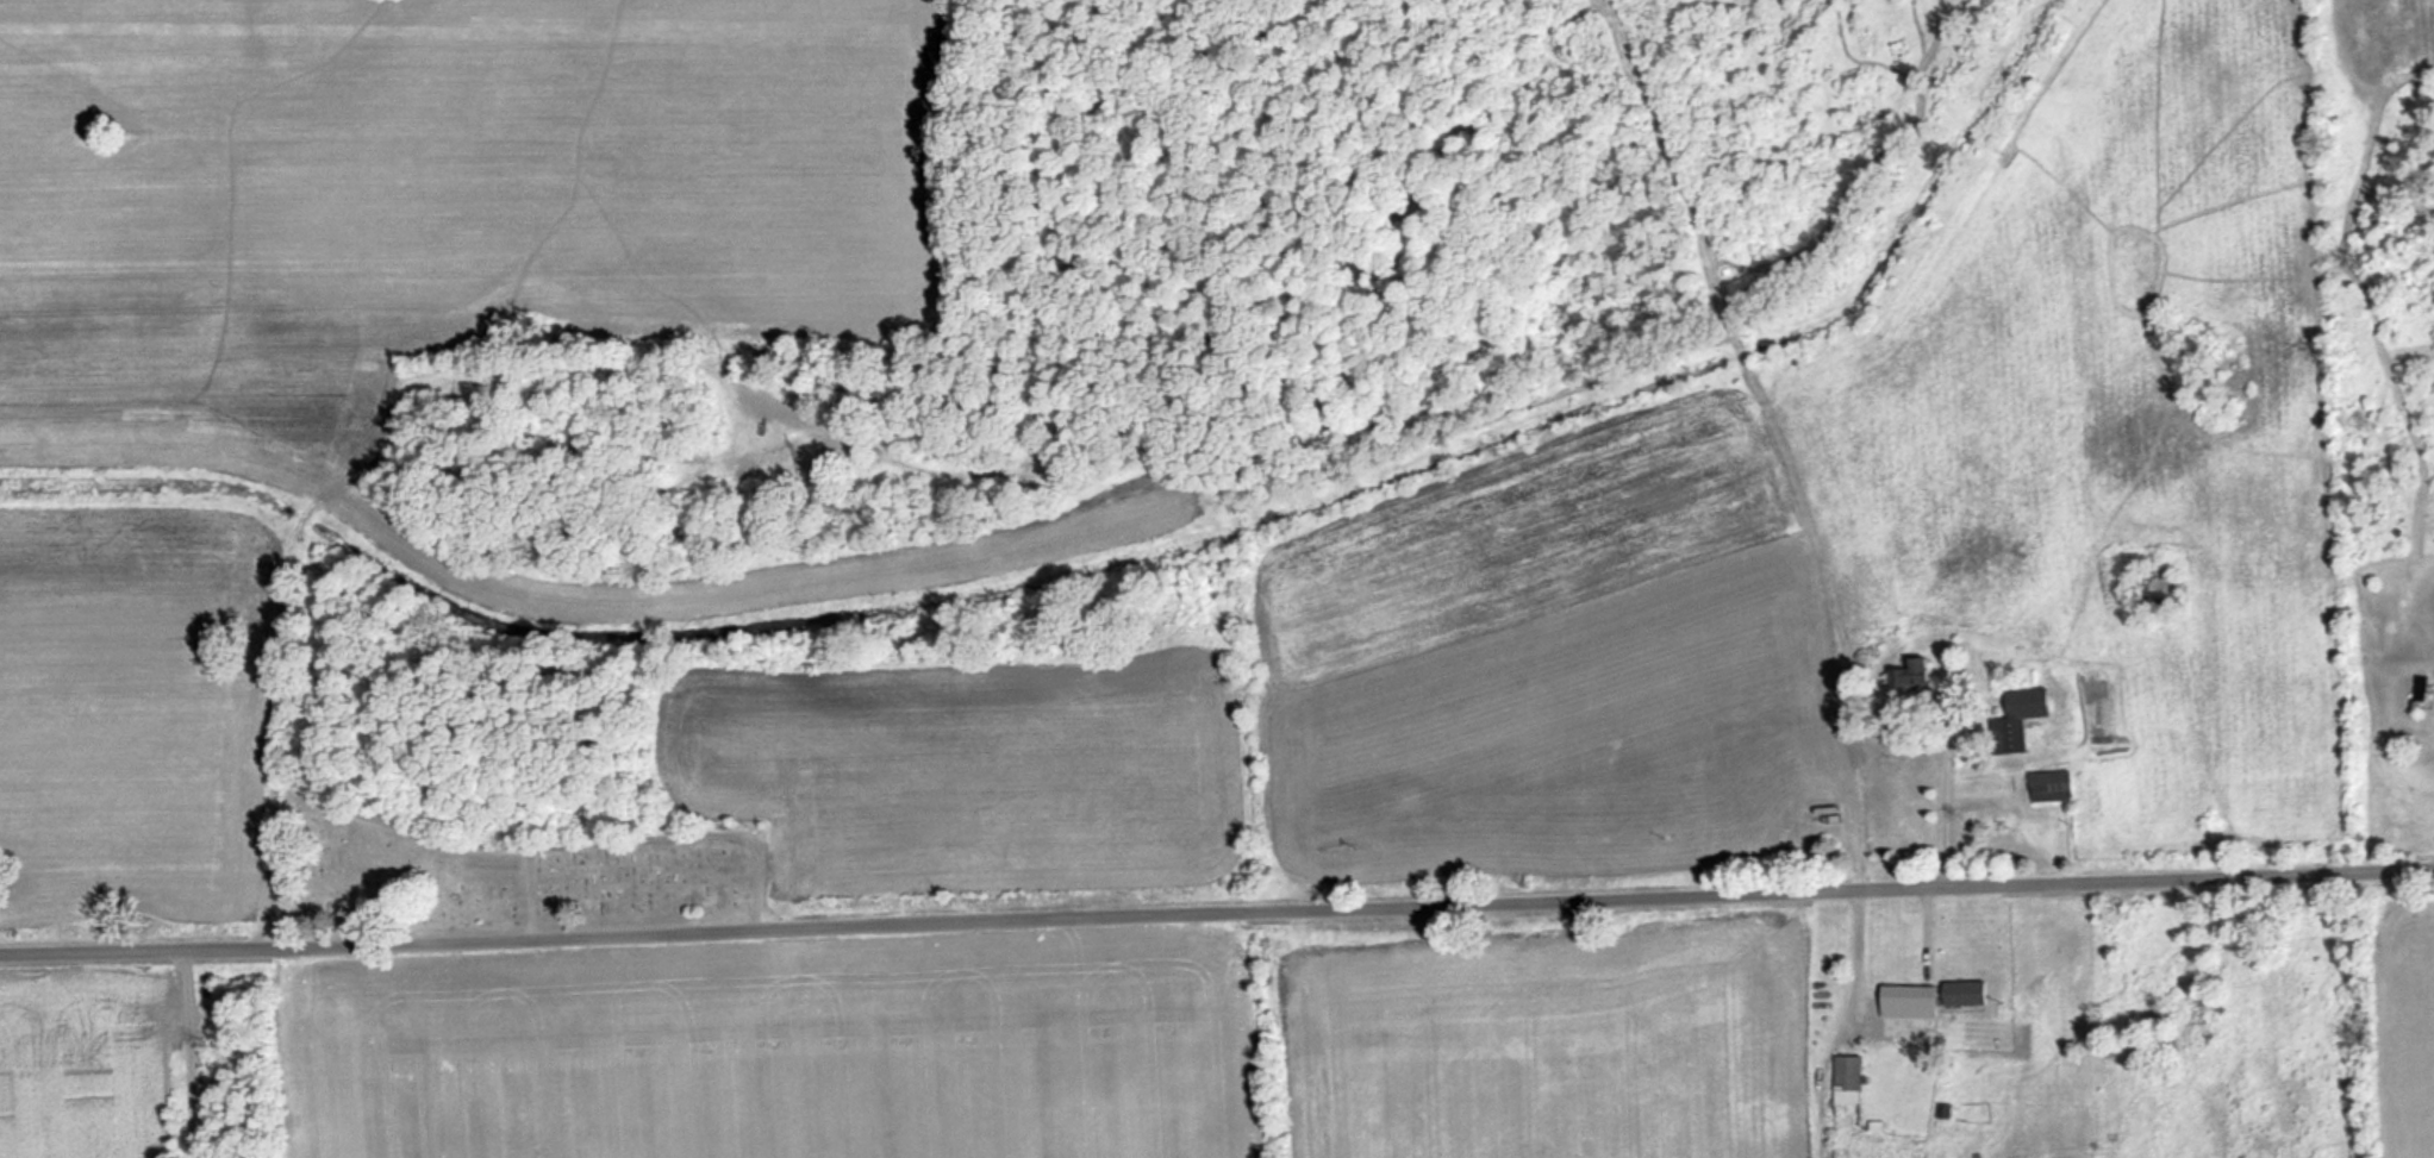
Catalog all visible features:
building: (1916, 676)
building: (2021, 719)
building: (2054, 785)
road: (487, 845)
park: (500, 872)
road: (530, 891)
road: (1217, 912)
building: (1911, 1027)
building: (1849, 1072)

